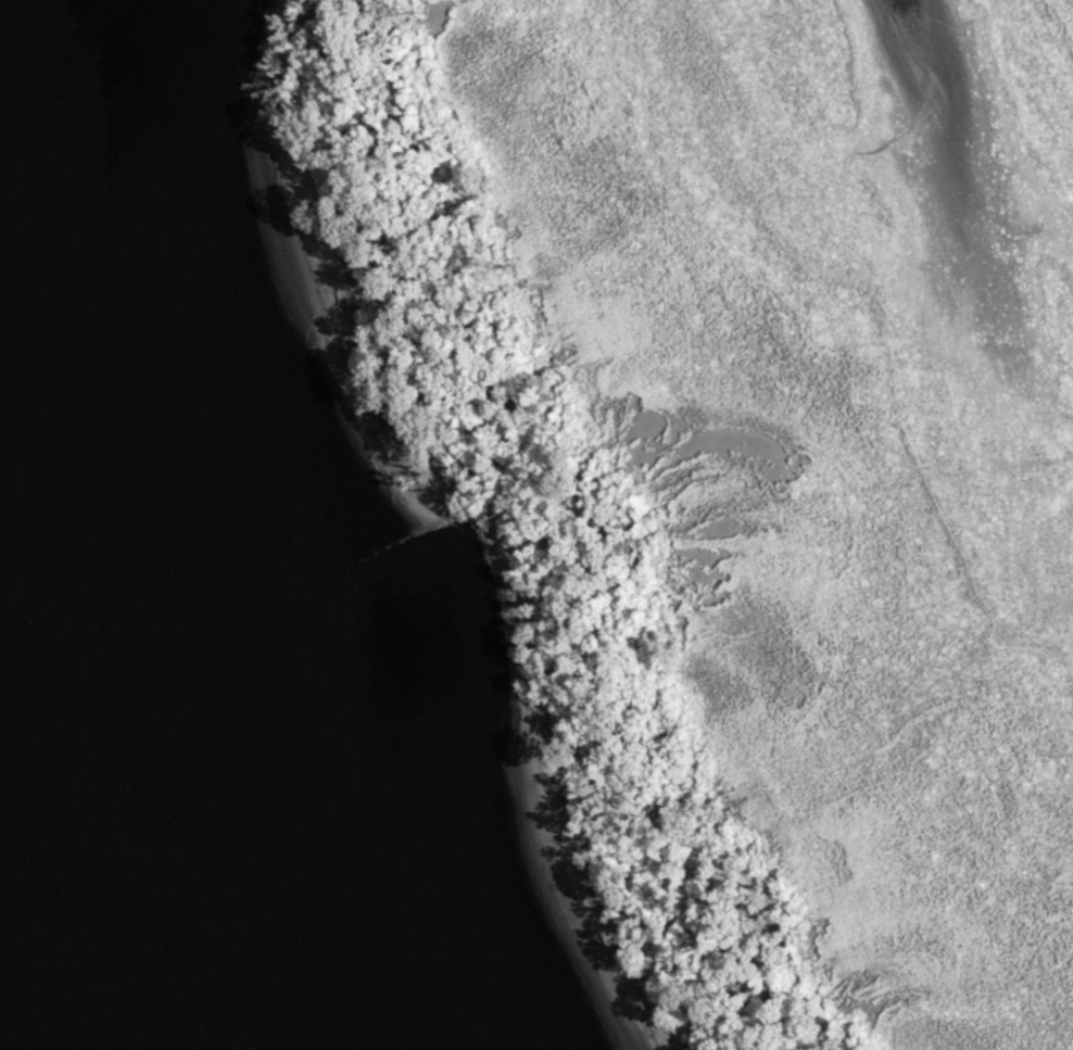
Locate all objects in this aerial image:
crop: (824, 439)

